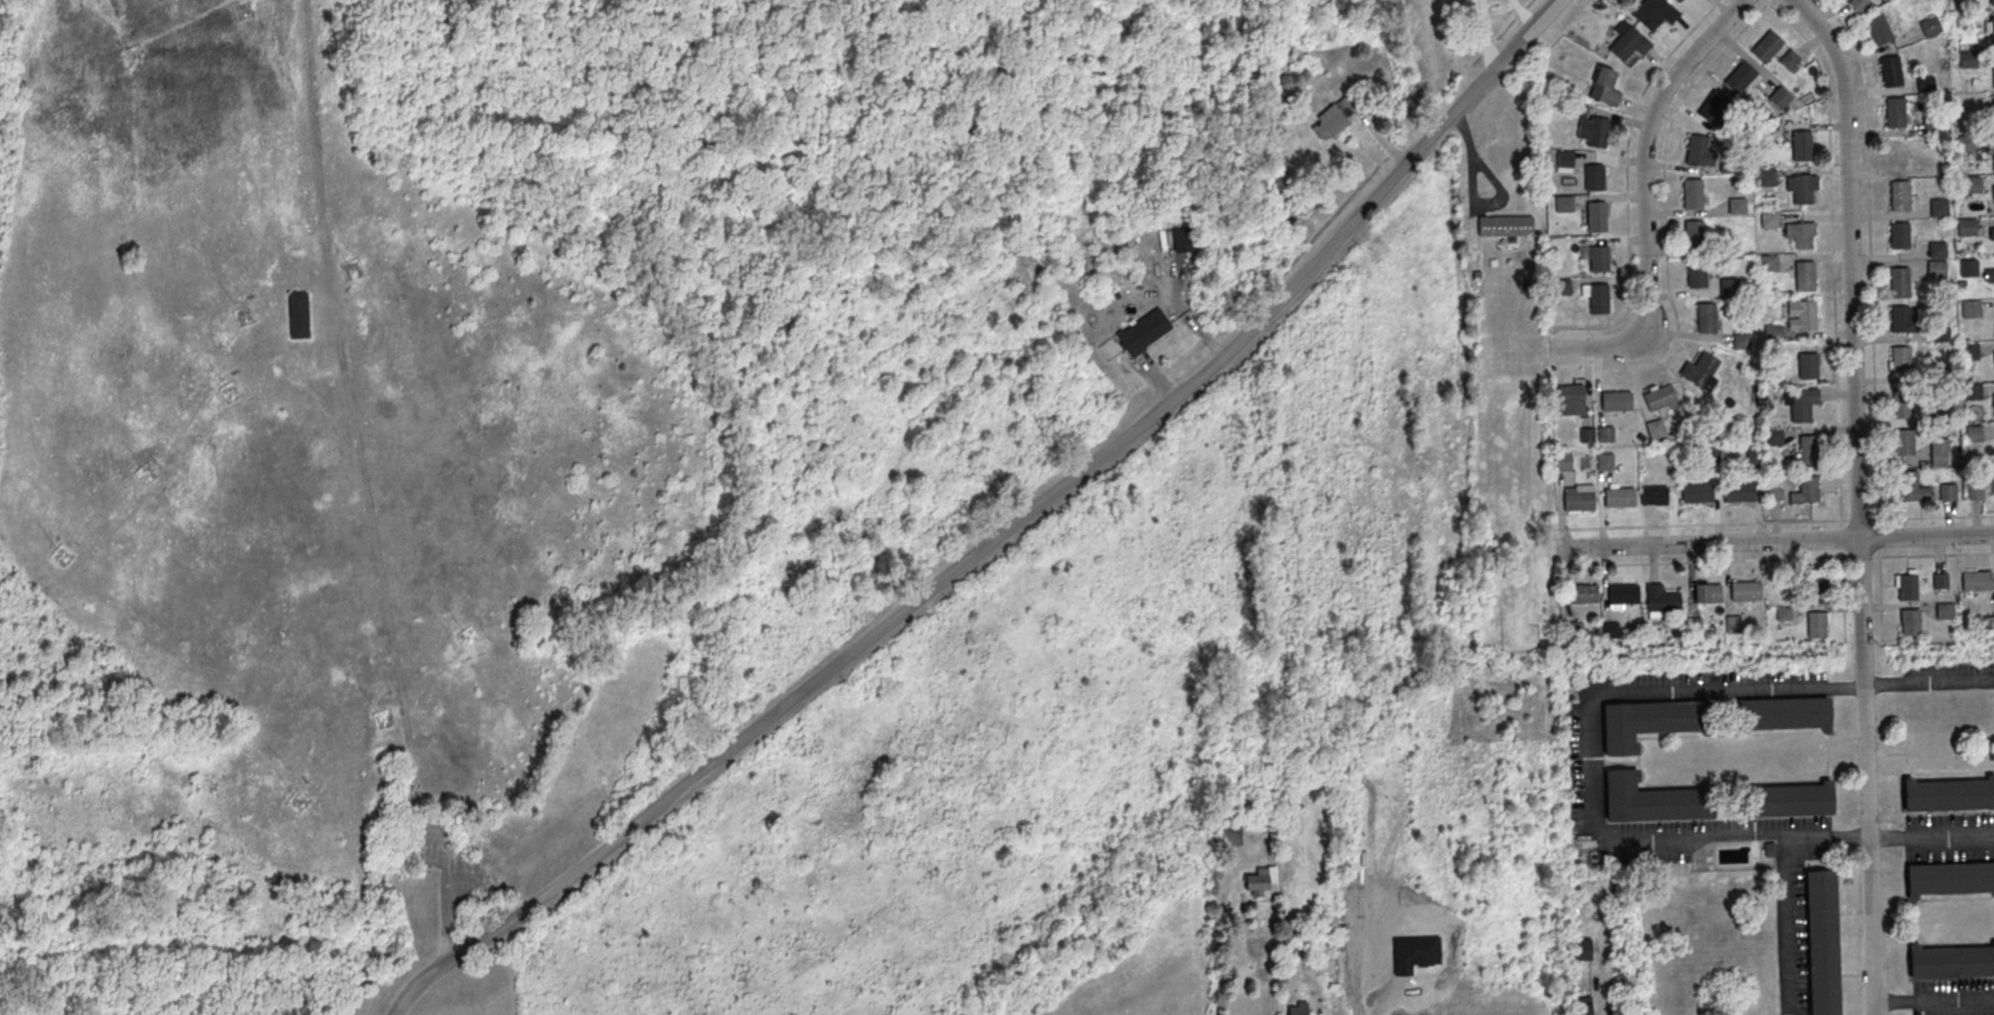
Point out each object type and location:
building: (1677, 1)
building: (1991, 2)
building: (1859, 5)
building: (1653, 13)
building: (1929, 26)
building: (1878, 29)
building: (1991, 30)
road: (1690, 31)
building: (1628, 44)
building: (1765, 46)
building: (1789, 59)
building: (1968, 60)
building: (1890, 71)
building: (1993, 71)
building: (1739, 77)
building: (1925, 84)
building: (1603, 87)
building: (1779, 96)
building: (1712, 106)
building: (1895, 113)
building: (1993, 113)
building: (1337, 115)
building: (1930, 127)
road: (1668, 129)
building: (1592, 131)
building: (1964, 143)
building: (1801, 146)
building: (1698, 151)
building: (1896, 152)
building: (1993, 158)
building: (1564, 159)
building: (1936, 166)
building: (1594, 177)
building: (1766, 177)
building: (1971, 184)
building: (1801, 188)
building: (1692, 194)
building: (1899, 195)
building: (1993, 196)
road: (1646, 200)
building: (1563, 204)
building: (1736, 206)
building: (1938, 207)
building: (1596, 217)
building: (1769, 220)
building: (1504, 224)
road: (1627, 224)
building: (1966, 227)
building: (1693, 234)
building: (1898, 235)
building: (1801, 236)
building: (1992, 237)
building: (1182, 240)
building: (1936, 250)
road: (1832, 252)
road: (1869, 256)
building: (1599, 259)
building: (1768, 262)
building: (1968, 268)
building: (1936, 269)
building: (1695, 274)
building: (1989, 275)
building: (1803, 276)
building: (1899, 283)
building: (1561, 287)
building: (1728, 288)
building: (1597, 299)
building: (1970, 309)
building: (298, 316)
building: (1805, 316)
building: (1705, 318)
building: (1899, 320)
building: (1144, 330)
building: (1771, 332)
building: (1940, 333)
building: (1740, 342)
building: (1970, 351)
building: (1901, 362)
building: (1807, 367)
road: (1644, 370)
building: (1701, 372)
building: (1940, 374)
building: (1972, 392)
building: (1659, 397)
building: (1570, 400)
building: (1615, 401)
building: (1901, 402)
building: (1993, 403)
building: (1802, 405)
building: (1942, 416)
building: (1655, 429)
building: (1973, 433)
building: (1604, 434)
building: (1586, 435)
building: (1773, 436)
building: (1903, 442)
building: (1938, 450)
building: (1808, 451)
building: (1563, 460)
building: (1605, 460)
building: (1907, 483)
building: (1993, 487)
building: (1808, 488)
building: (1738, 490)
building: (1947, 490)
building: (1773, 491)
building: (1696, 492)
building: (1653, 494)
building: (1619, 496)
road: (1858, 498)
building: (1578, 500)
road: (1931, 515)
road: (1859, 518)
road: (1702, 523)
road: (1003, 529)
road: (1840, 536)
road: (1877, 537)
road: (1774, 539)
road: (1932, 552)
road: (1861, 554)
road: (1703, 559)
building: (1939, 580)
building: (1976, 580)
building: (1906, 585)
building: (1745, 589)
building: (1817, 589)
building: (1707, 592)
building: (1583, 593)
building: (1622, 593)
road: (1842, 593)
road: (1879, 593)
building: (1659, 600)
building: (1943, 610)
building: (1783, 613)
building: (1909, 620)
building: (1711, 622)
building: (1732, 622)
building: (1988, 622)
building: (1815, 624)
building: (1570, 626)
building: (1693, 626)
building: (1609, 628)
road: (1928, 678)
building: (1782, 713)
building: (1651, 721)
road: (1590, 764)
building: (1948, 794)
building: (1784, 799)
building: (1654, 800)
road: (1930, 833)
building: (1949, 878)
building: (1260, 880)
road: (1787, 918)
building: (1821, 942)
building: (1583, 948)
building: (1414, 952)
building: (1950, 961)
road: (1933, 1000)
building: (1583, 1004)
road: (394, 1007)
building: (1297, 1009)

